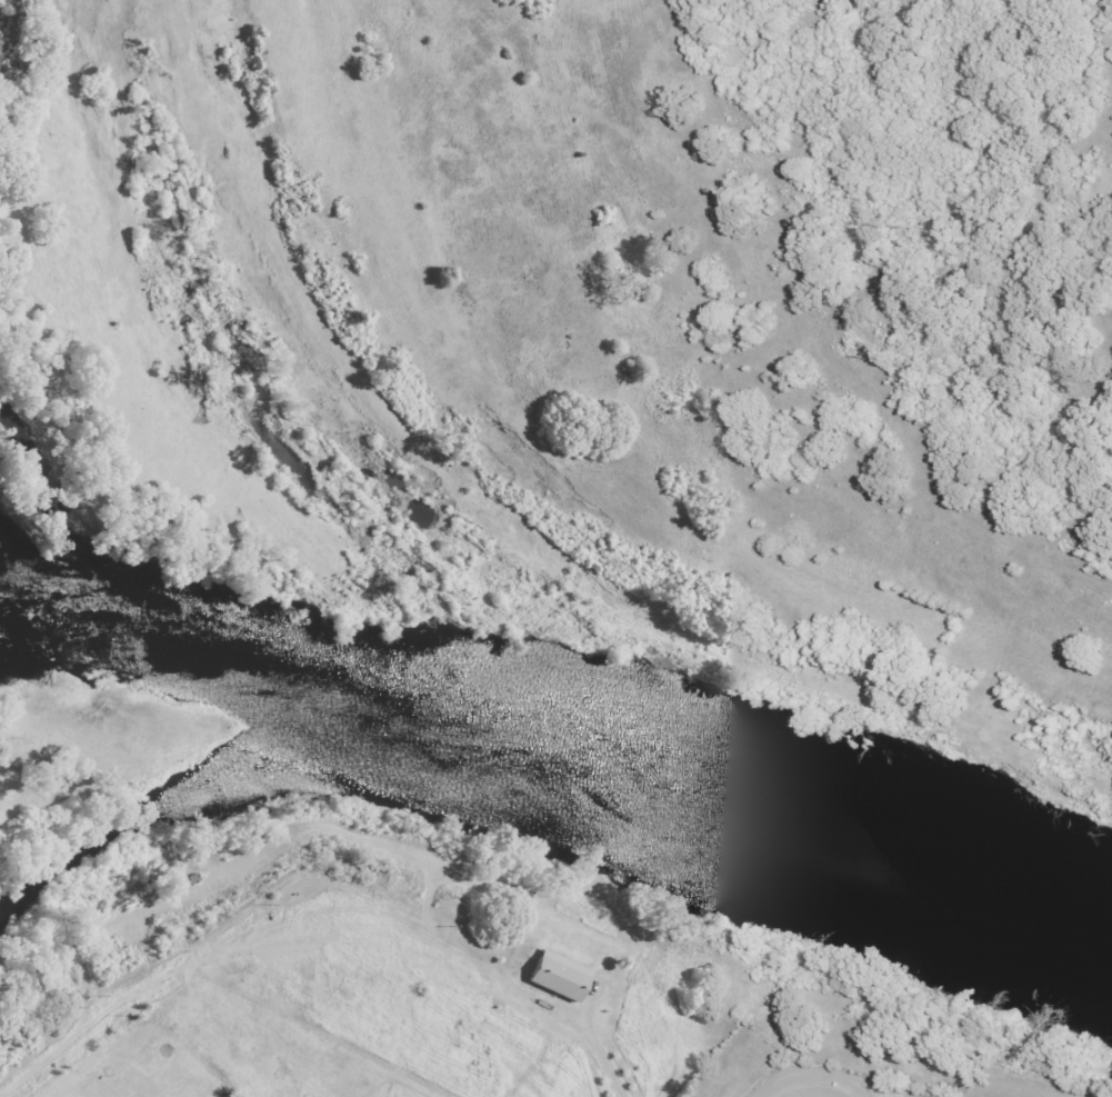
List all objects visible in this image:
river: (555, 758)
building: (628, 1011)
road: (672, 1049)

